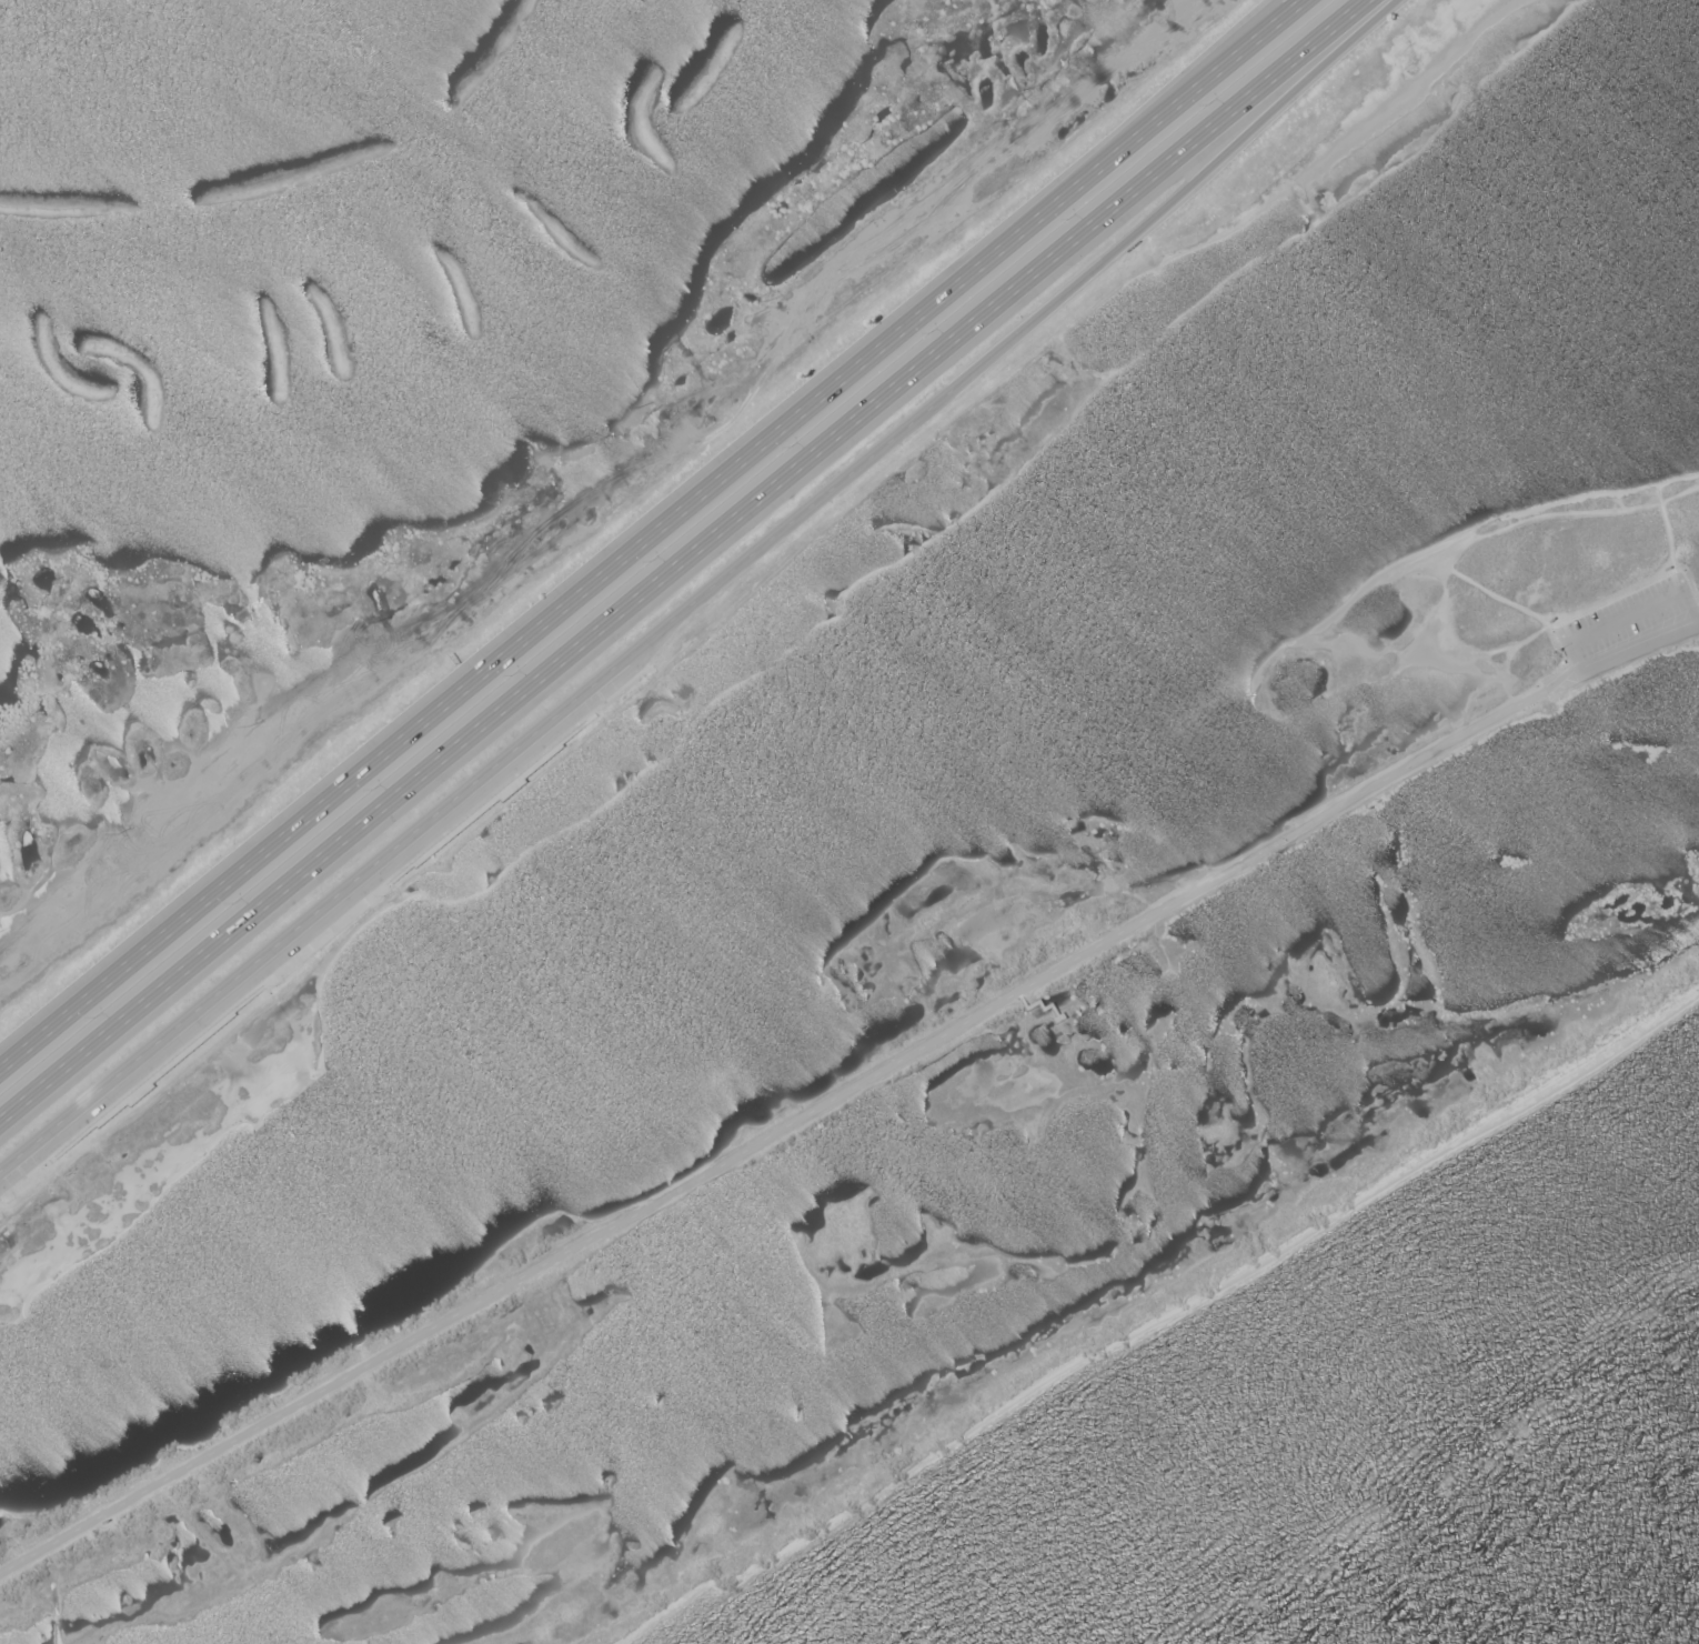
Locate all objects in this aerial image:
road: (1142, 116)
road: (652, 538)
road: (683, 561)
road: (702, 593)
parking lot: (1625, 615)
road: (1621, 654)
road: (1038, 1000)
road: (773, 1132)

